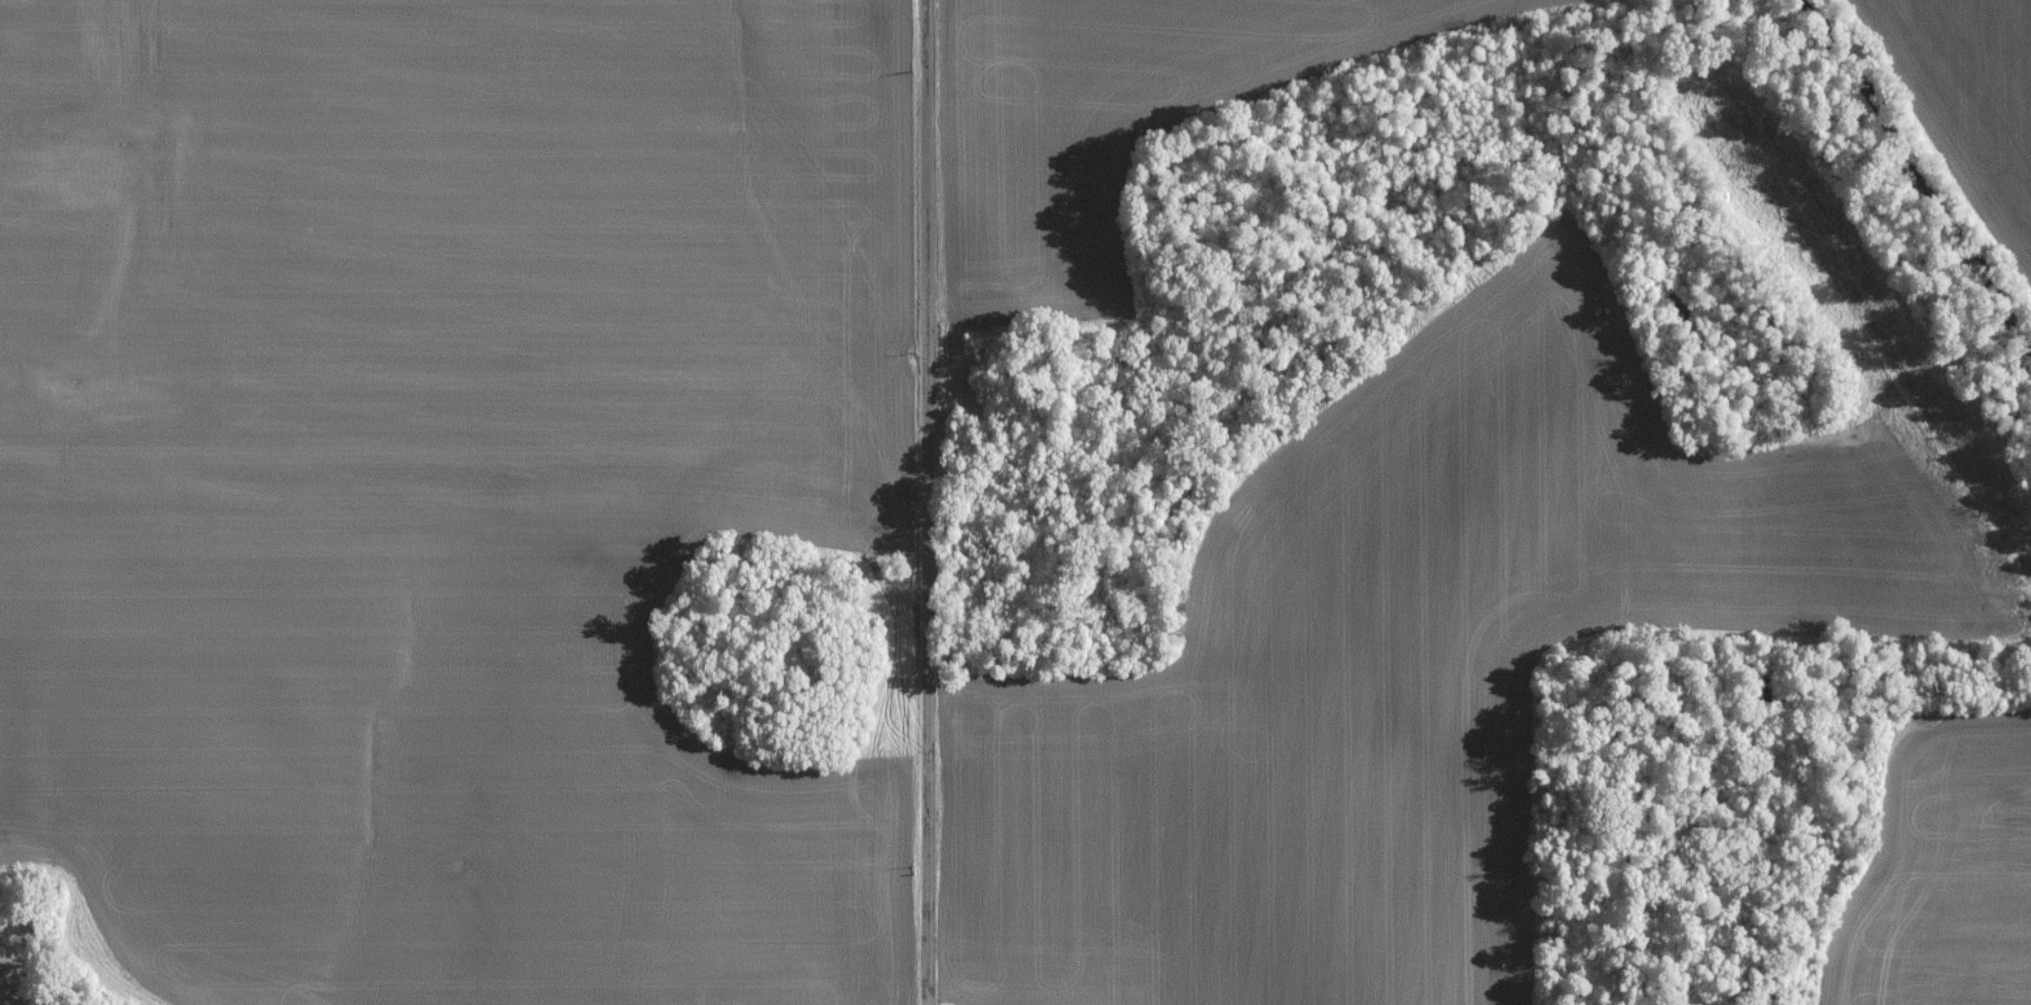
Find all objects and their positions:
road: (933, 502)

